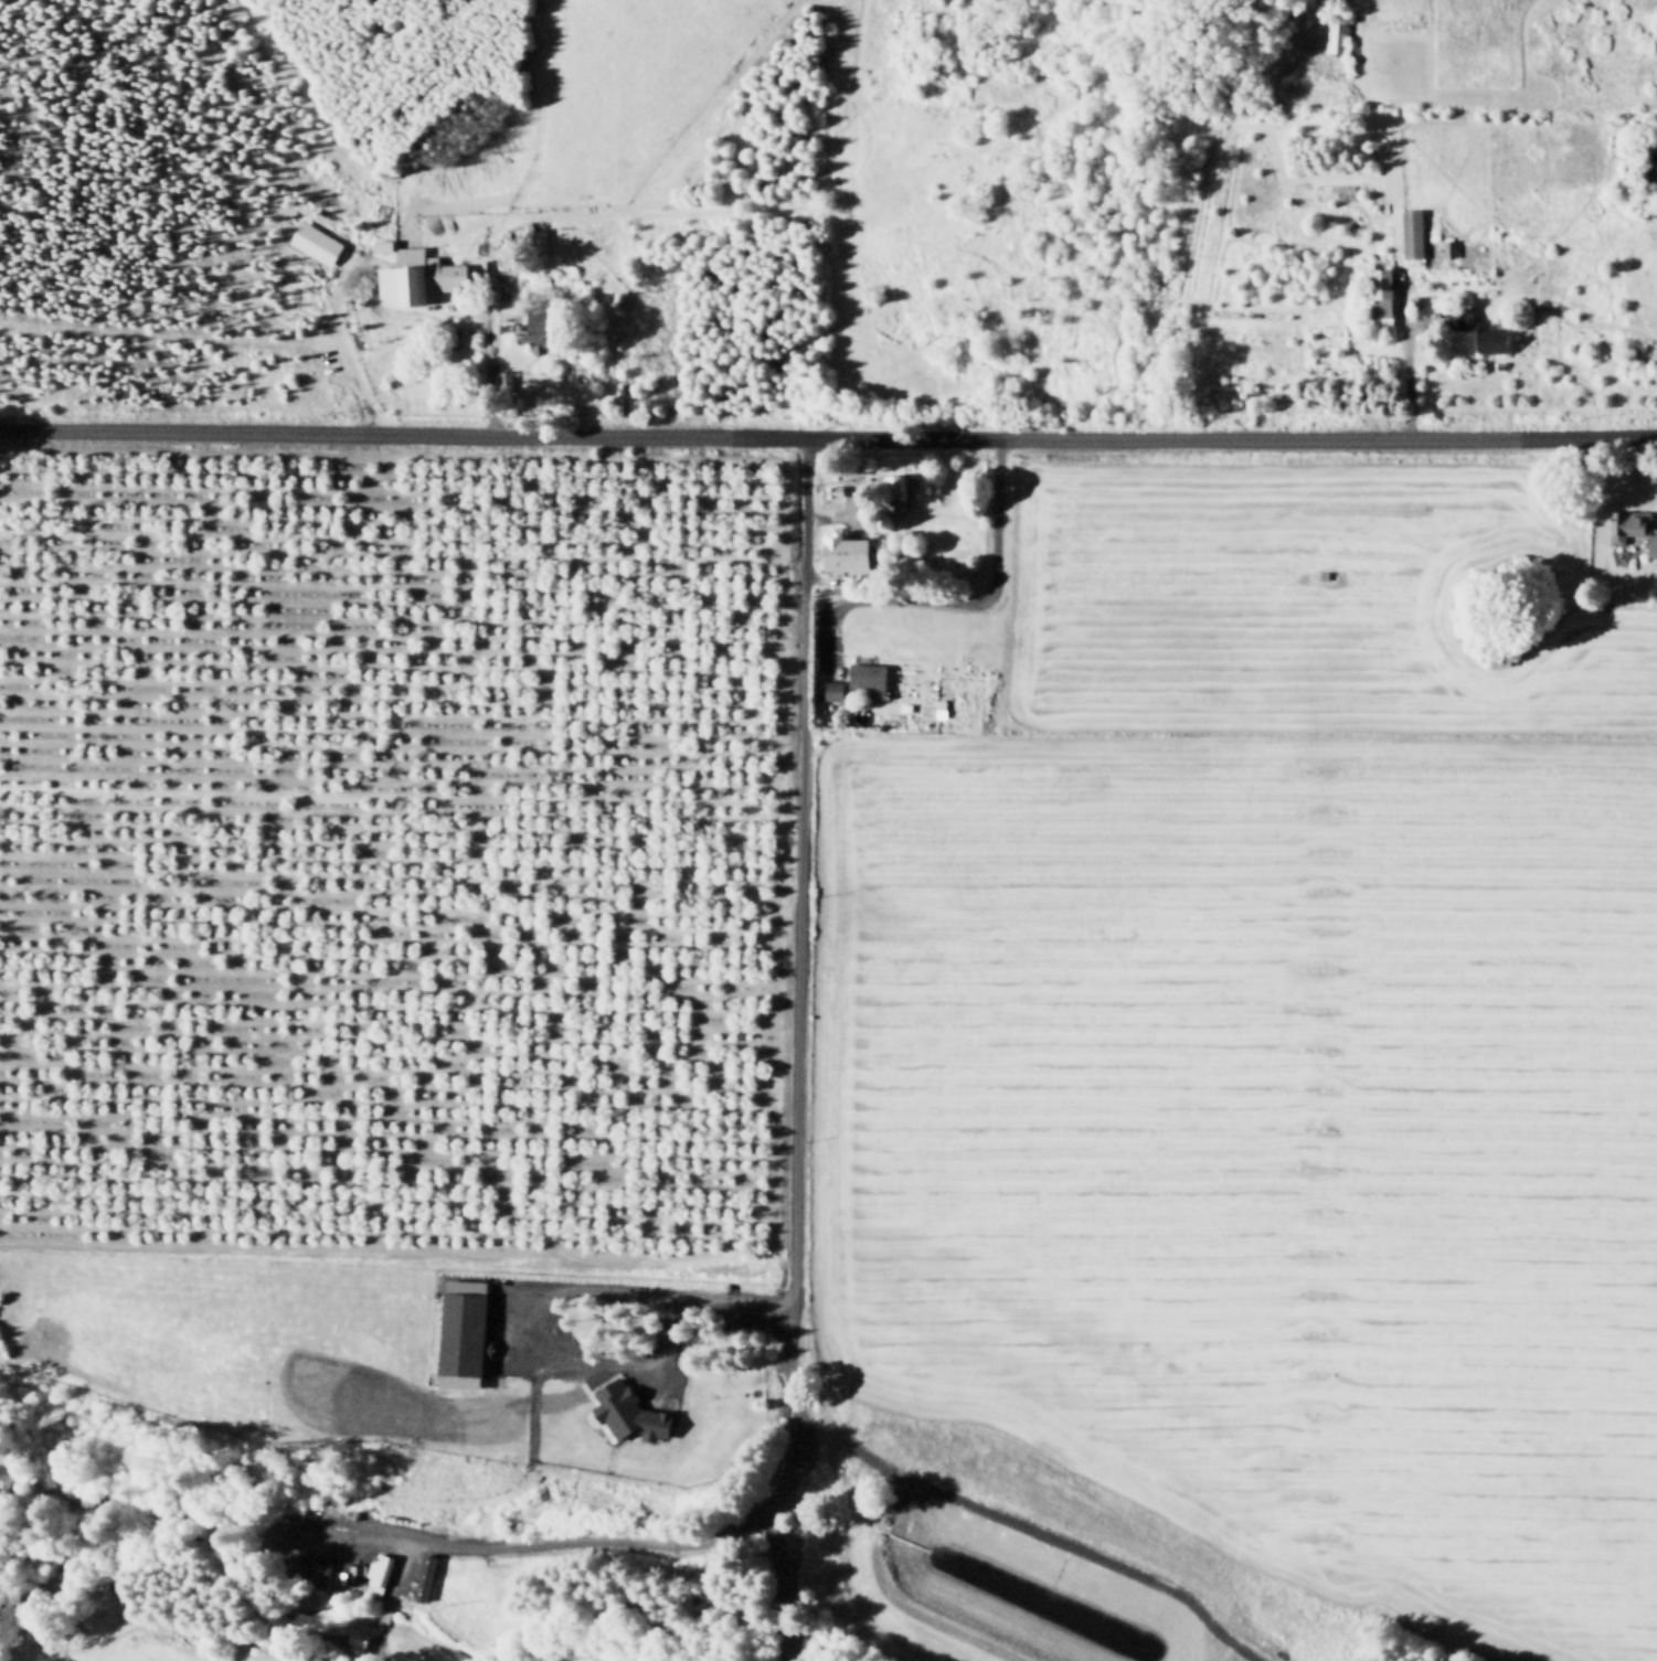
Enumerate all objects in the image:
building: (1335, 34)
building: (1409, 231)
building: (537, 238)
building: (316, 244)
building: (1447, 245)
building: (382, 246)
building: (370, 249)
building: (407, 280)
building: (499, 289)
building: (1378, 290)
building: (1415, 300)
building: (1458, 316)
building: (540, 329)
building: (1491, 337)
road: (489, 365)
road: (1408, 369)
building: (502, 375)
road: (828, 433)
building: (894, 482)
building: (829, 489)
building: (894, 502)
road: (843, 511)
road: (857, 521)
building: (1629, 525)
building: (1653, 547)
building: (843, 550)
building: (836, 587)
road: (952, 596)
crop: (1289, 599)
building: (858, 654)
building: (865, 672)
building: (831, 686)
building: (879, 691)
building: (817, 701)
building: (891, 720)
road: (797, 972)
crop: (1253, 1152)
road: (556, 1289)
building: (467, 1334)
building: (633, 1414)
road: (396, 1436)
road: (337, 1534)
road: (537, 1545)
building: (318, 1573)
building: (381, 1576)
road: (782, 1576)
building: (423, 1579)
crop: (936, 1619)
building: (362, 1638)
crop: (145, 1655)
road: (224, 1659)

